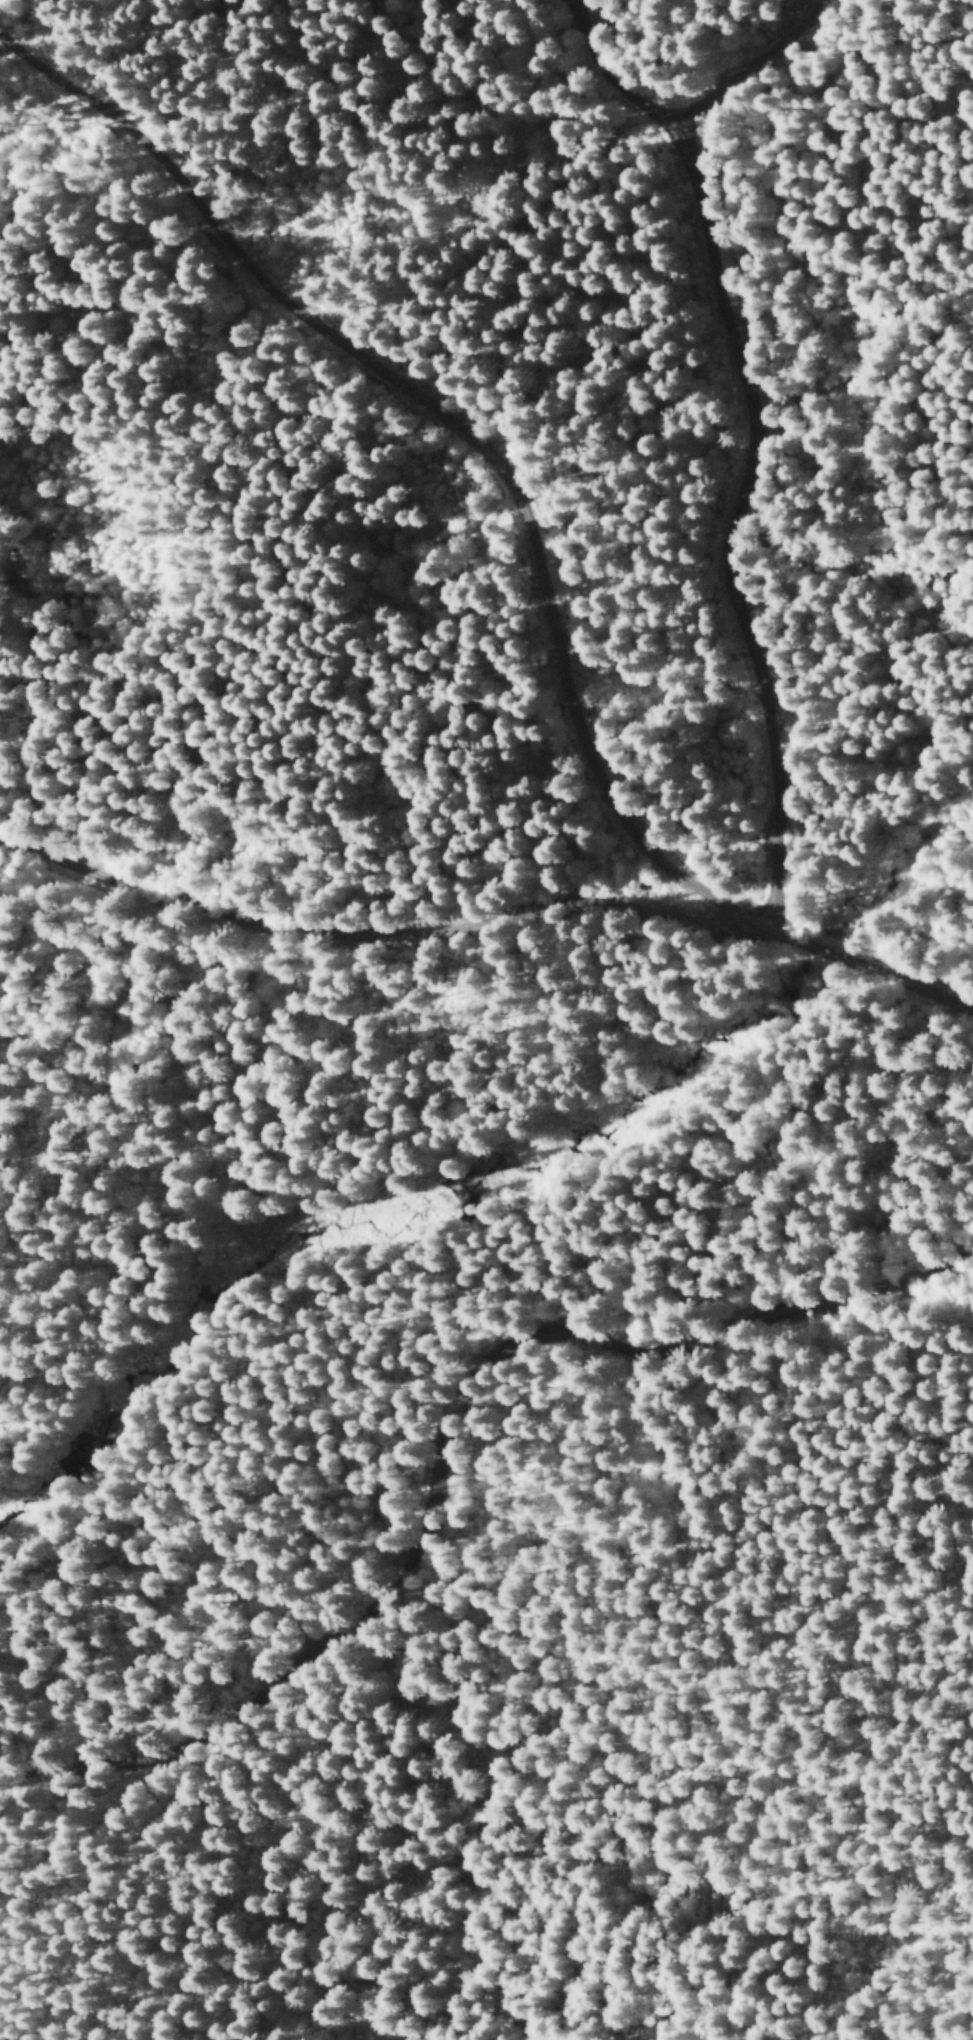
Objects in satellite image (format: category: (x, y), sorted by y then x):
road: (755, 69)
road: (665, 854)
road: (490, 903)
road: (959, 957)
river: (422, 1158)
road: (426, 1320)

